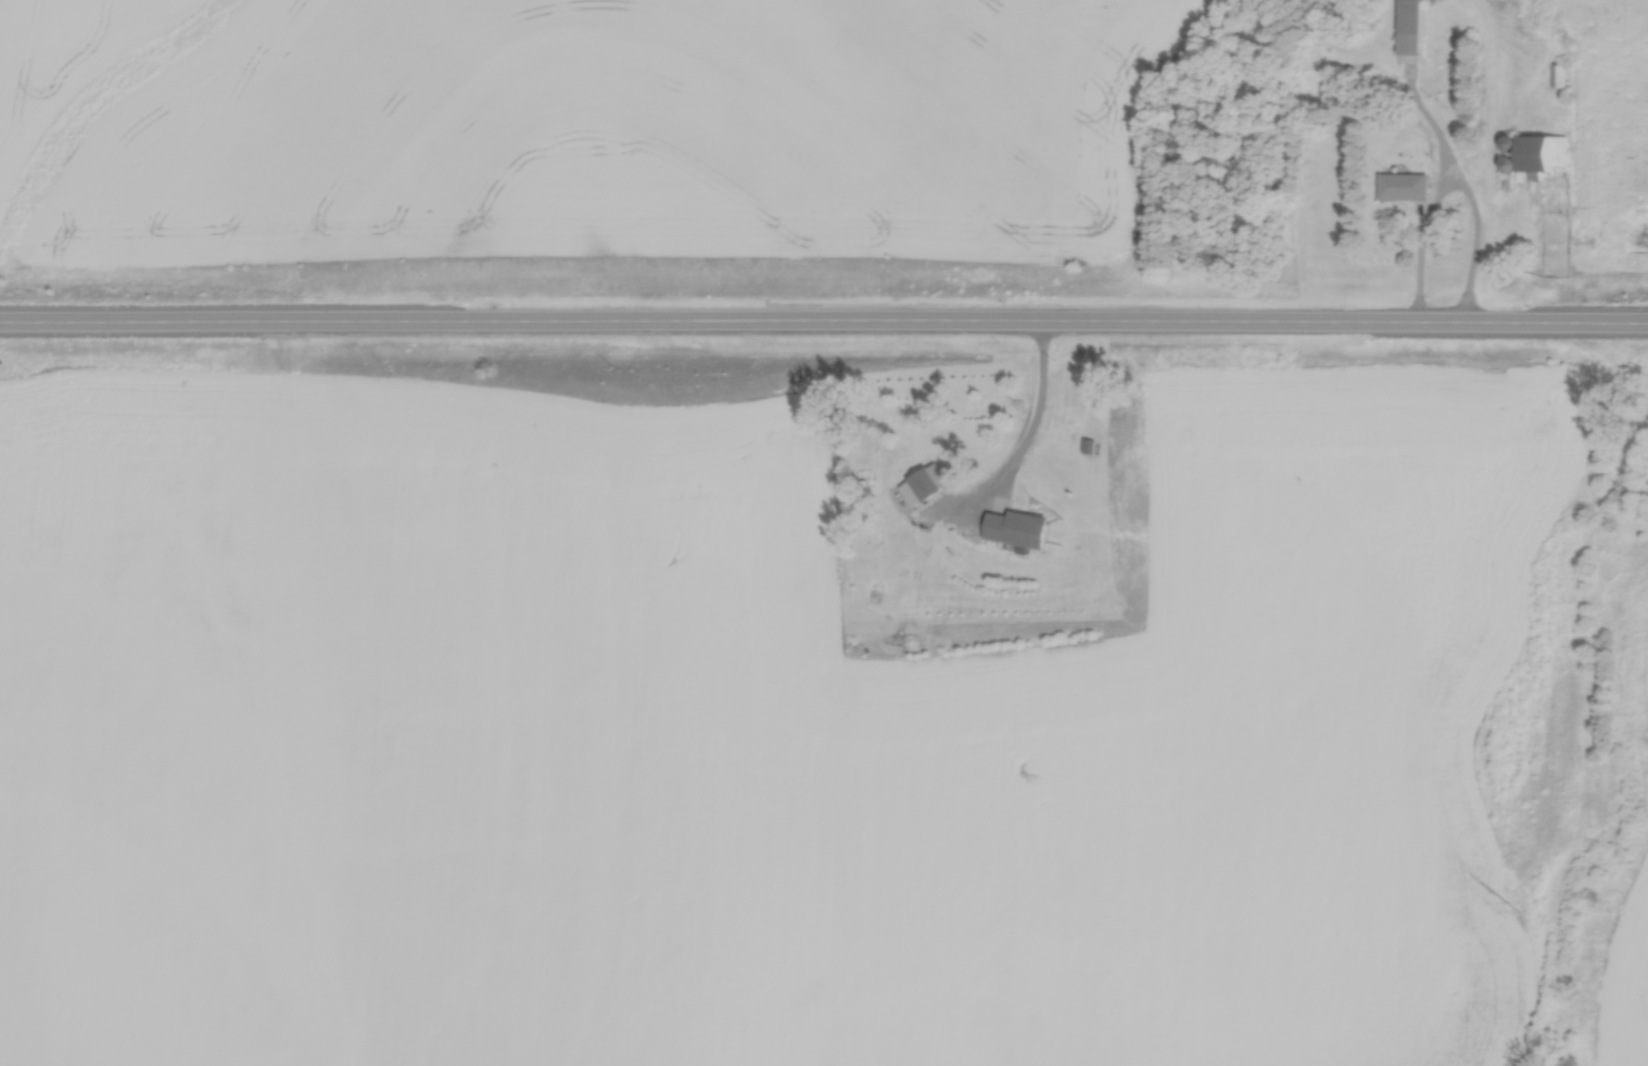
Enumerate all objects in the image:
building: (1409, 25)
building: (1557, 71)
building: (1539, 151)
building: (1402, 181)
road: (1471, 243)
road: (823, 325)
road: (1032, 419)
building: (918, 481)
building: (1014, 521)
power tower: (1513, 898)

